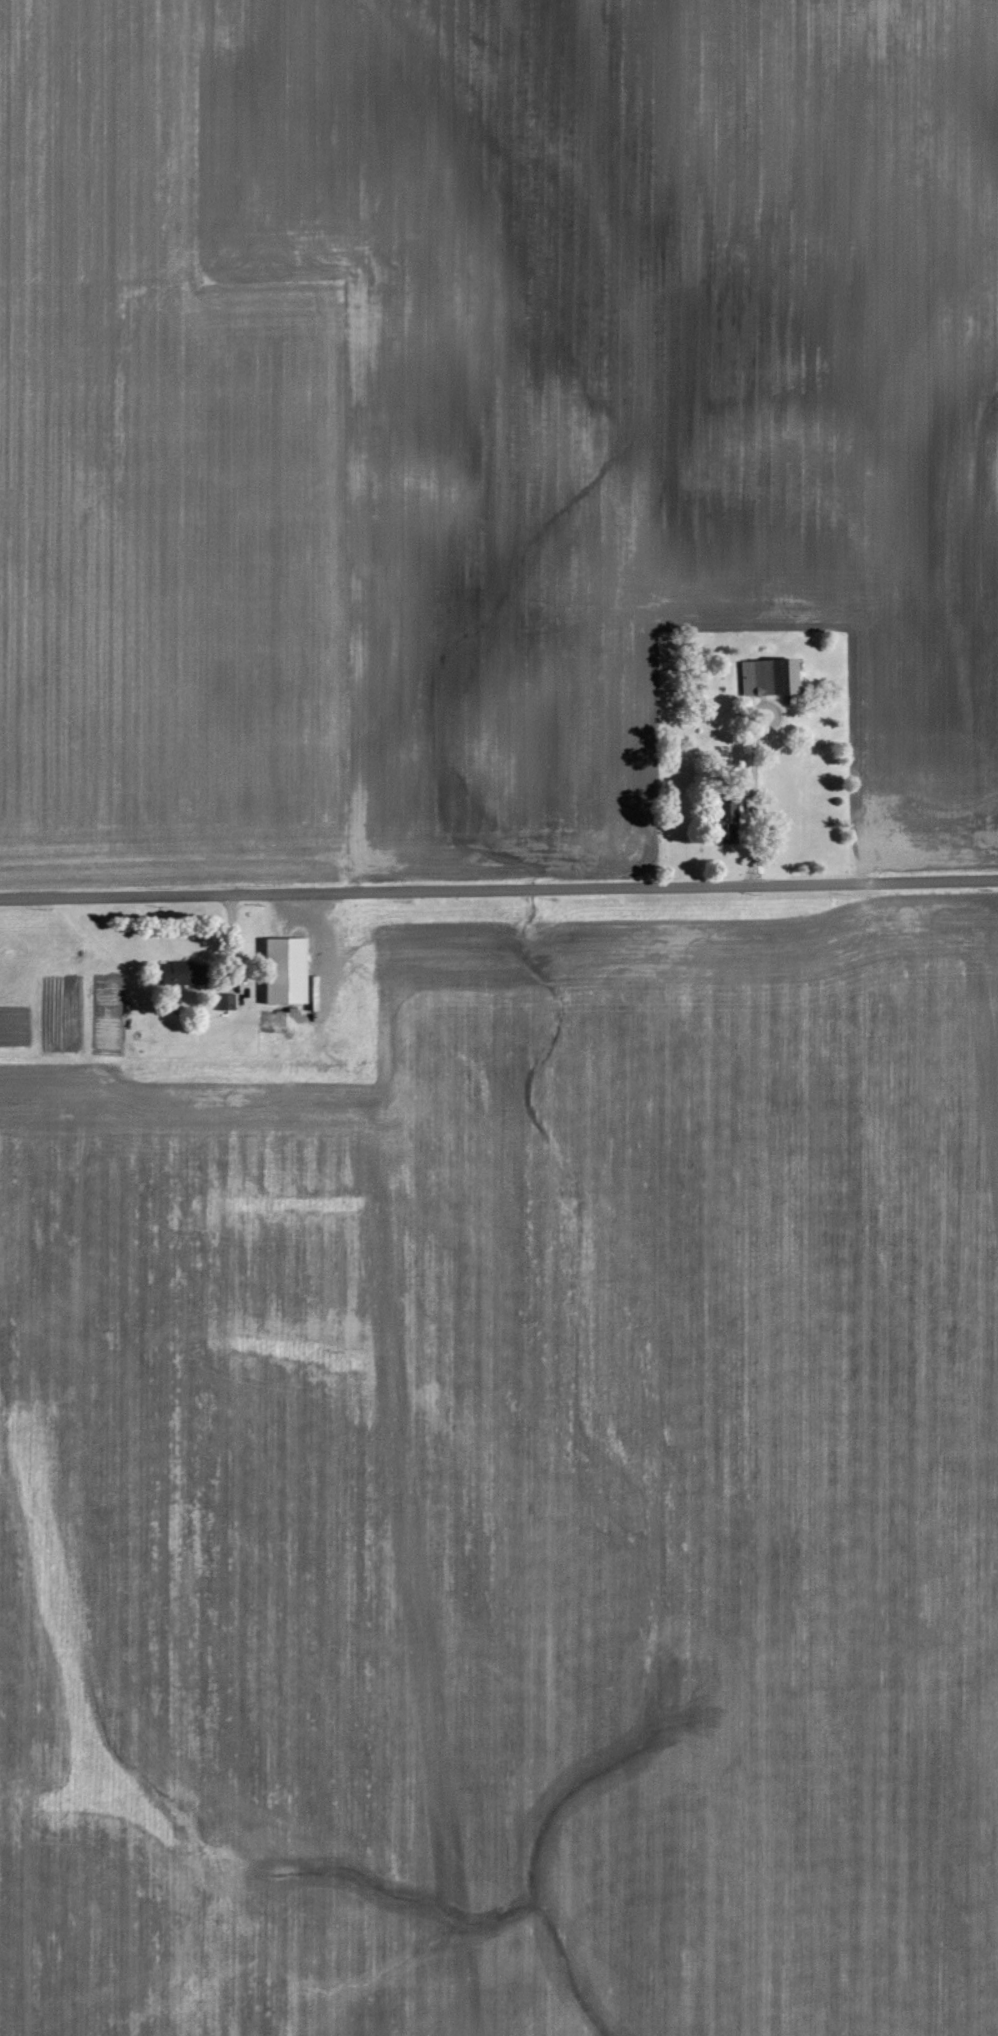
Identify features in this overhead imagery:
road: (499, 887)
building: (178, 969)
building: (289, 970)

